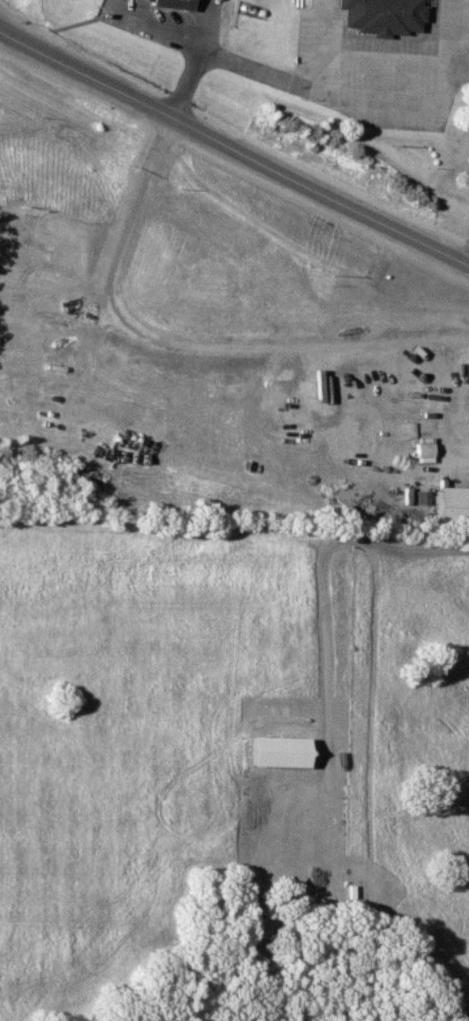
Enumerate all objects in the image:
building: (141, 0)
building: (179, 4)
building: (381, 16)
road: (335, 74)
road: (193, 86)
road: (235, 148)
building: (424, 429)
building: (448, 504)
building: (285, 751)

